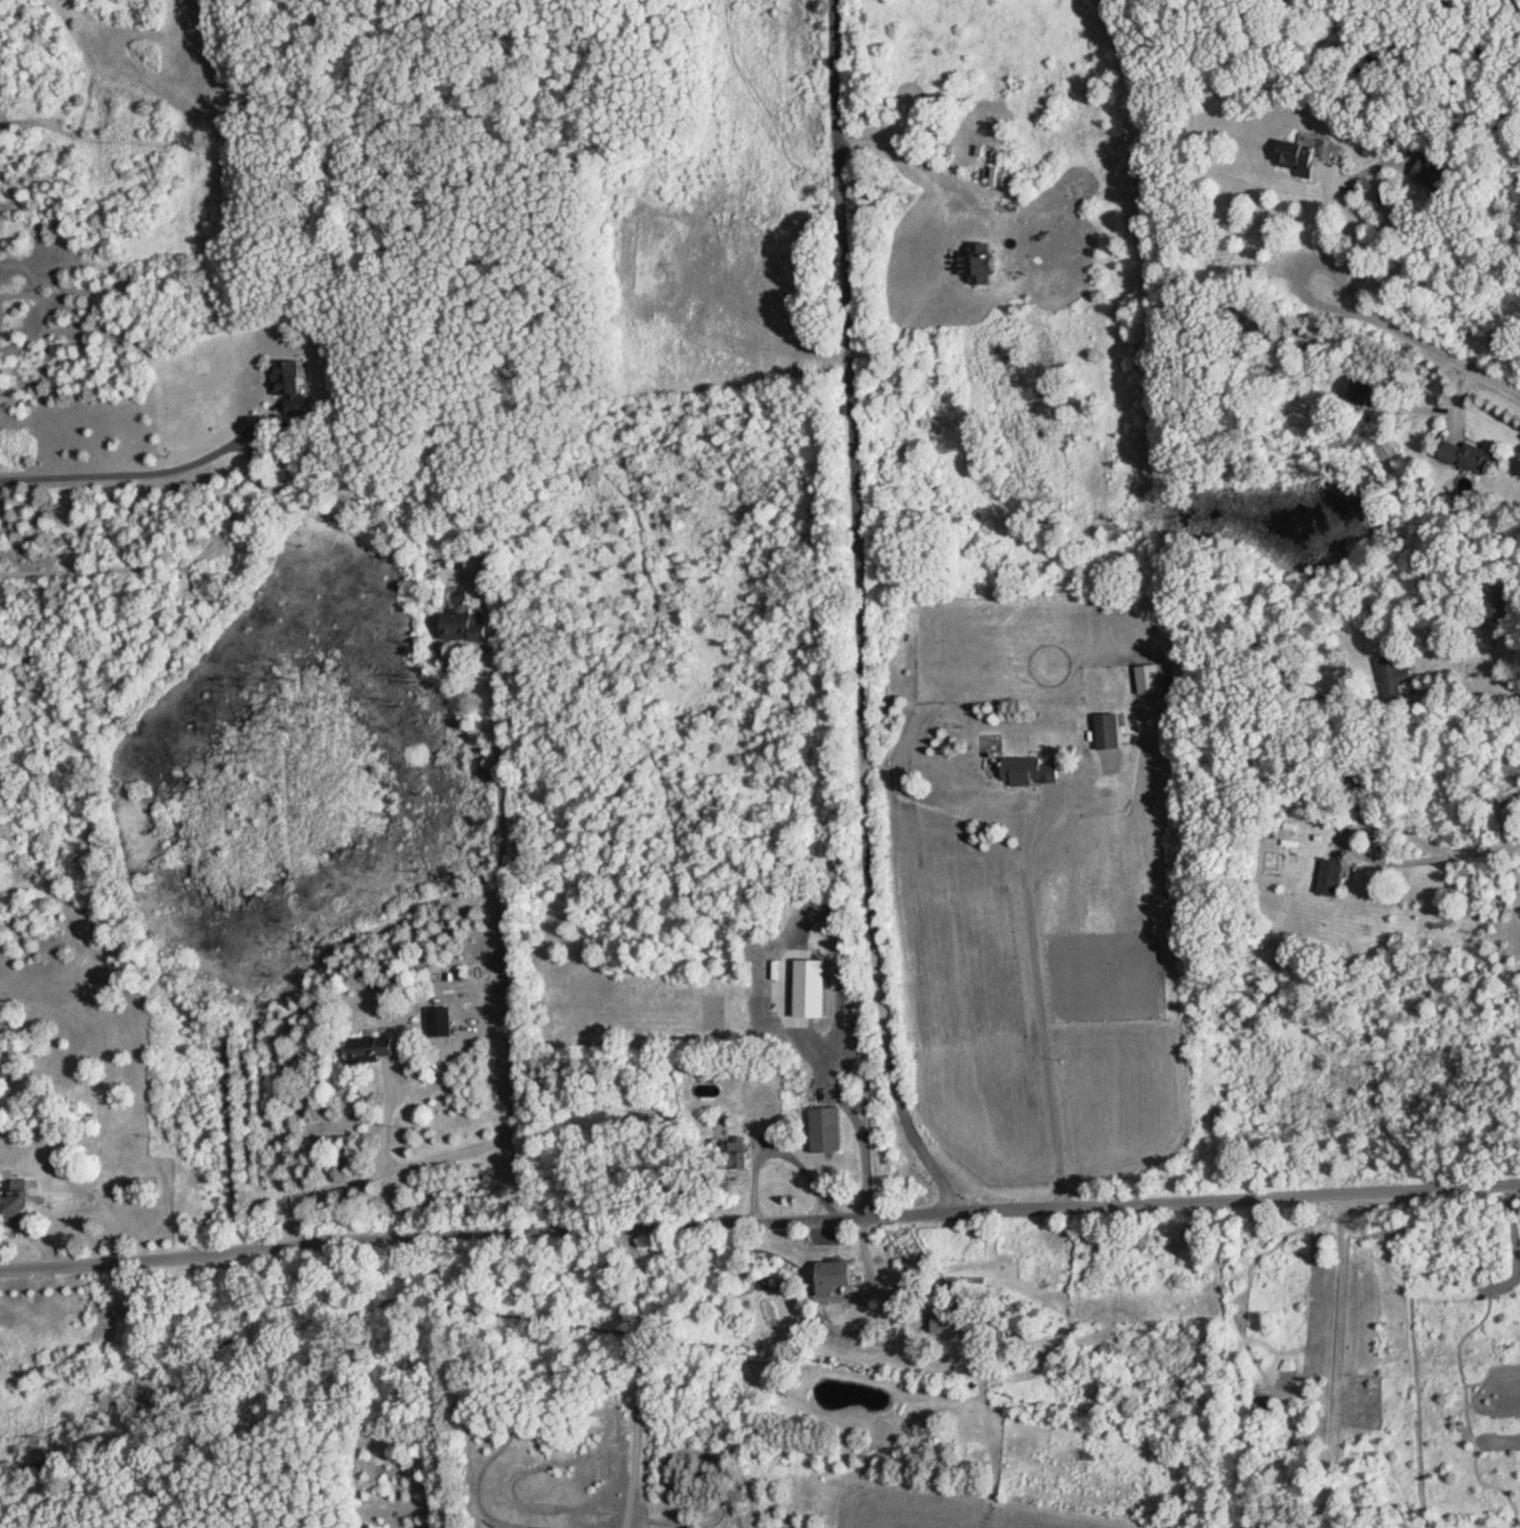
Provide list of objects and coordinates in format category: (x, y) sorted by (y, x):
building: (1297, 157)
road: (919, 161)
building: (1428, 172)
road: (840, 197)
road: (1325, 228)
building: (980, 261)
road: (1420, 339)
building: (287, 383)
building: (1354, 390)
building: (1466, 454)
road: (127, 475)
building: (1496, 601)
building: (466, 629)
building: (1393, 670)
building: (1149, 677)
road: (1473, 686)
building: (1108, 729)
building: (1023, 769)
road: (866, 810)
road: (1352, 837)
road: (1486, 850)
building: (1331, 875)
building: (811, 988)
road: (1034, 995)
building: (440, 1021)
road: (507, 1029)
building: (373, 1046)
road: (841, 1096)
road: (387, 1114)
building: (826, 1128)
road: (781, 1150)
building: (69, 1151)
building: (736, 1154)
building: (13, 1200)
road: (759, 1220)
road: (865, 1254)
building: (837, 1272)
building: (949, 1288)
building: (947, 1322)
road: (1334, 1360)
road: (638, 1377)
road: (257, 1390)

